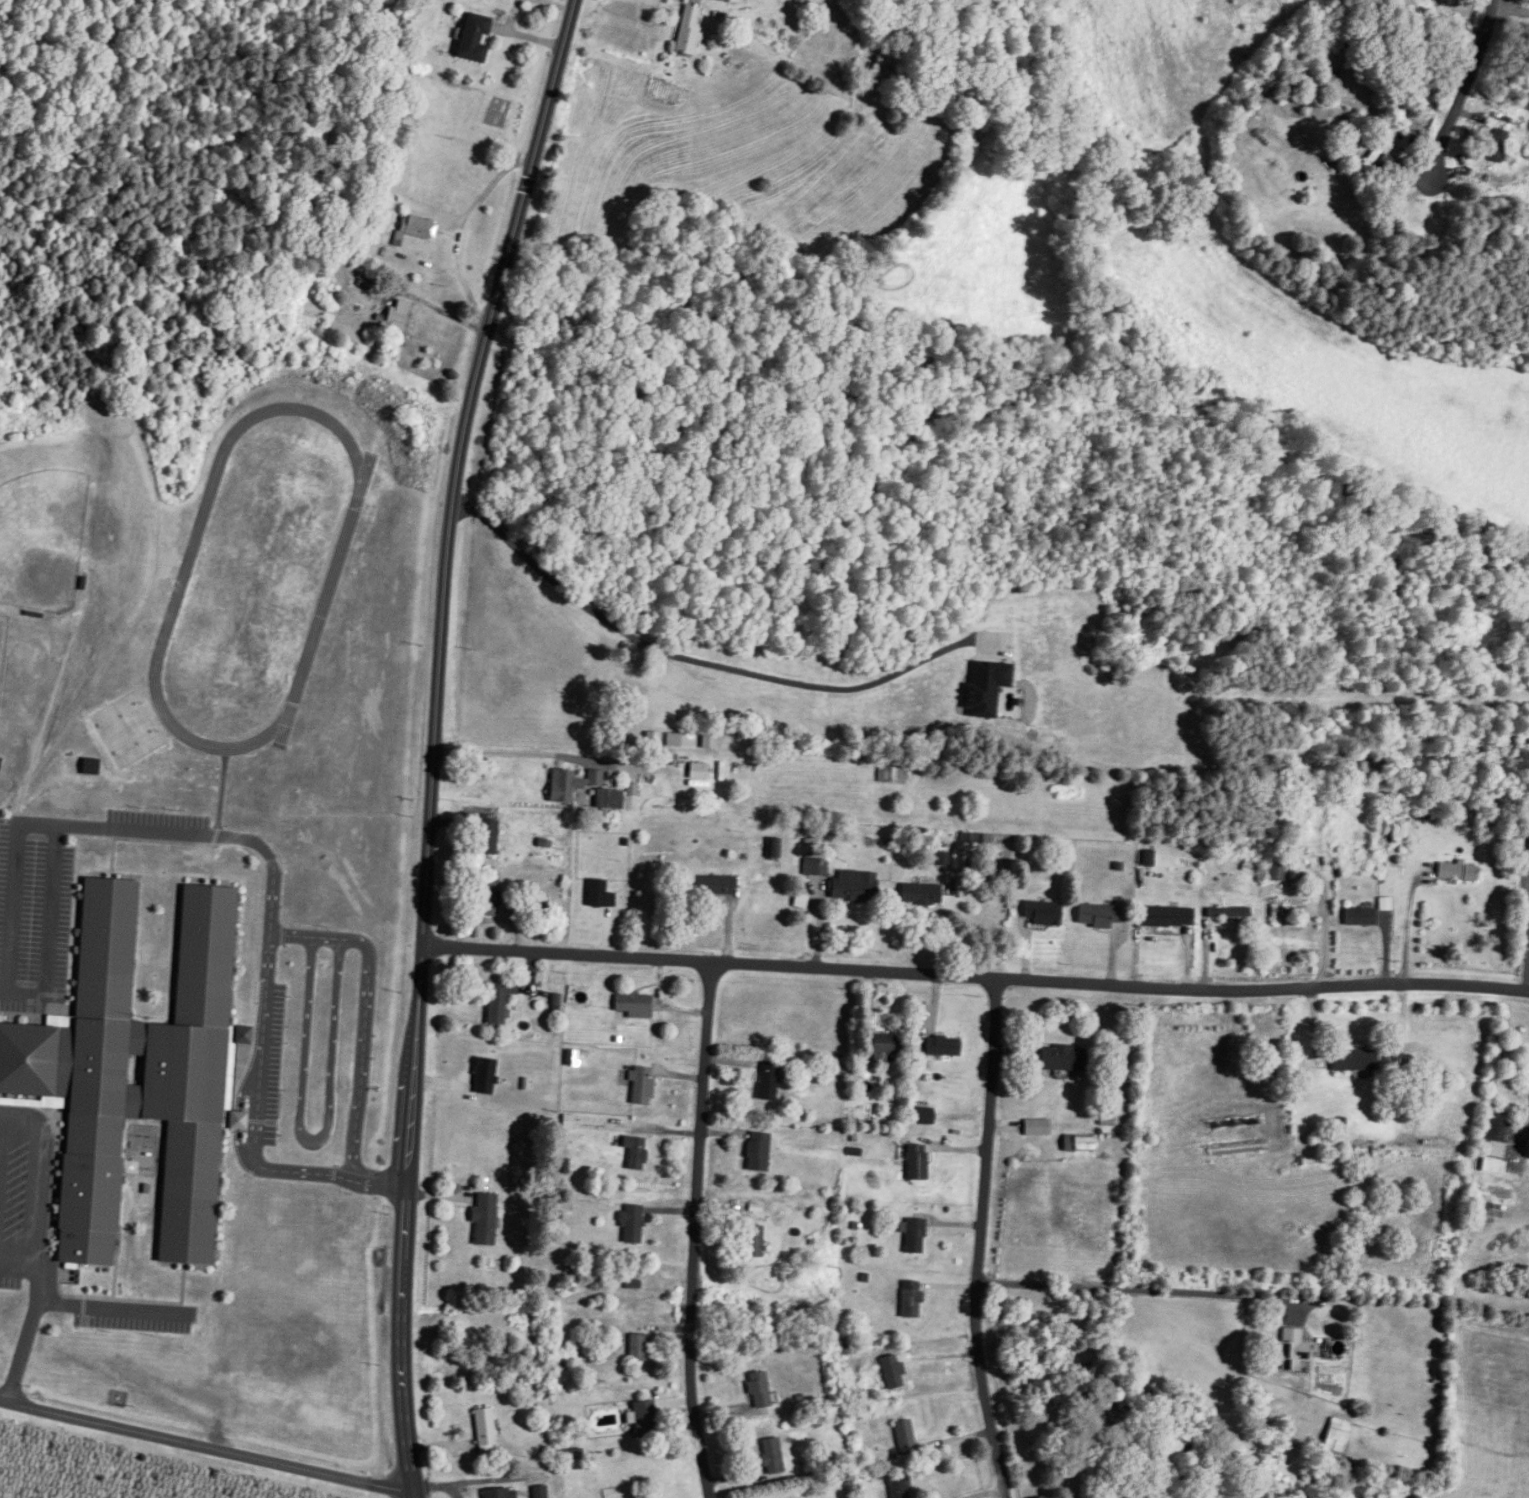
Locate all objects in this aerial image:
building: (741, 1)
building: (686, 30)
building: (473, 38)
building: (1417, 51)
building: (883, 77)
road: (1454, 106)
building: (1353, 139)
building: (1496, 145)
building: (1373, 156)
building: (417, 227)
road: (460, 229)
building: (367, 275)
building: (327, 293)
building: (395, 318)
road: (688, 658)
road: (433, 742)
road: (518, 752)
building: (90, 766)
road: (644, 767)
building: (698, 771)
building: (890, 775)
building: (584, 789)
road: (100, 826)
building: (486, 837)
building: (817, 867)
building: (1276, 872)
building: (1456, 872)
building: (713, 886)
building: (852, 886)
building: (920, 894)
building: (598, 895)
building: (484, 899)
building: (1283, 911)
building: (1041, 913)
building: (1227, 913)
building: (1096, 916)
building: (1166, 916)
building: (1358, 917)
road: (943, 924)
road: (1404, 927)
road: (271, 934)
road: (975, 975)
building: (577, 996)
building: (497, 1002)
building: (632, 1006)
building: (880, 1044)
building: (940, 1046)
building: (1061, 1058)
building: (1353, 1060)
building: (136, 1071)
building: (767, 1081)
building: (640, 1086)
building: (1495, 1139)
building: (1076, 1144)
building: (757, 1152)
building: (634, 1153)
building: (915, 1163)
road: (38, 1175)
road: (378, 1182)
building: (484, 1219)
building: (631, 1224)
road: (690, 1228)
building: (913, 1236)
road: (979, 1237)
building: (753, 1242)
road: (18, 1263)
road: (1138, 1288)
building: (910, 1298)
road: (115, 1309)
road: (27, 1333)
building: (638, 1347)
building: (1292, 1350)
building: (891, 1379)
building: (758, 1390)
building: (644, 1419)
building: (484, 1433)
building: (904, 1437)
building: (1333, 1441)
road: (207, 1448)
building: (771, 1456)
building: (899, 1486)
building: (539, 1491)
road: (984, 1492)
building: (499, 1493)

